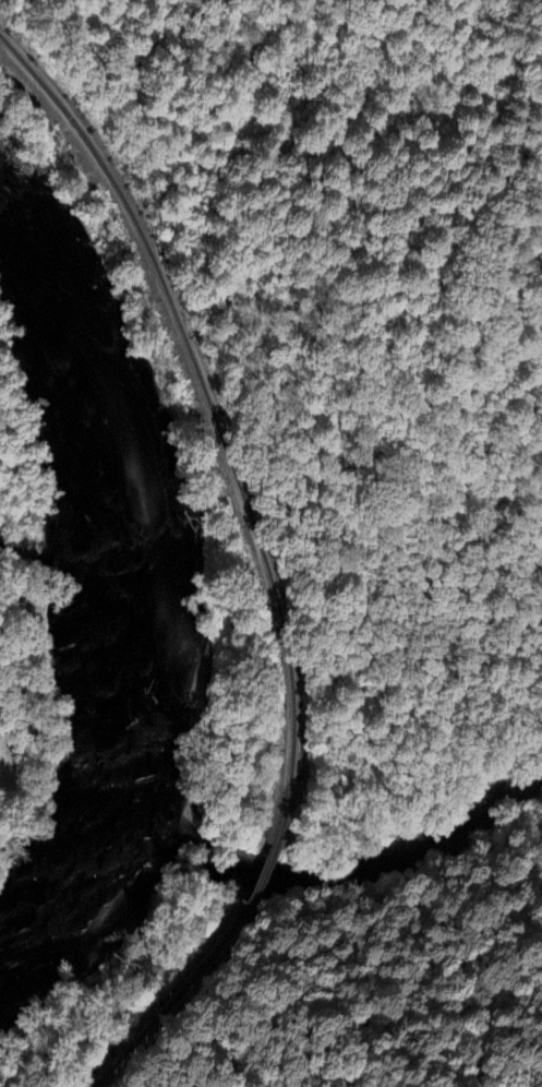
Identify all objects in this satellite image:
railway: (215, 419)
river: (103, 604)
railway: (262, 874)
railway: (173, 996)

